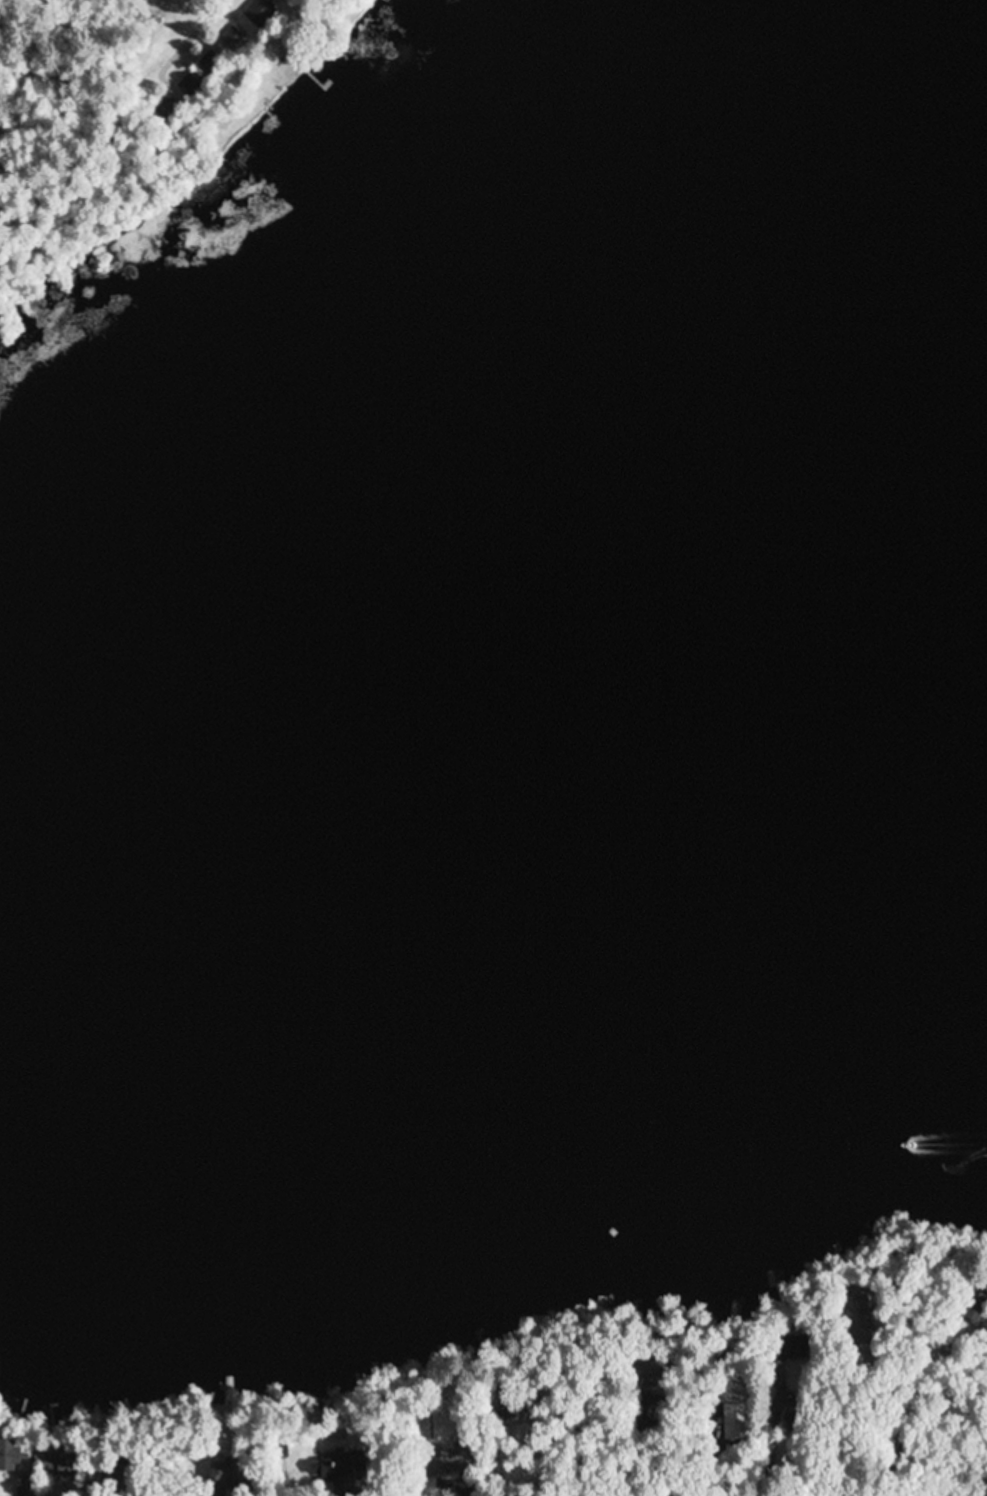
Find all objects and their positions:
building: (260, 13)
building: (234, 40)
building: (212, 63)
building: (190, 88)
building: (166, 112)
building: (976, 1304)
building: (858, 1307)
building: (646, 1373)
building: (735, 1420)
building: (12, 1459)
building: (445, 1463)
building: (60, 1467)
building: (228, 1474)
building: (338, 1474)
building: (113, 1478)

